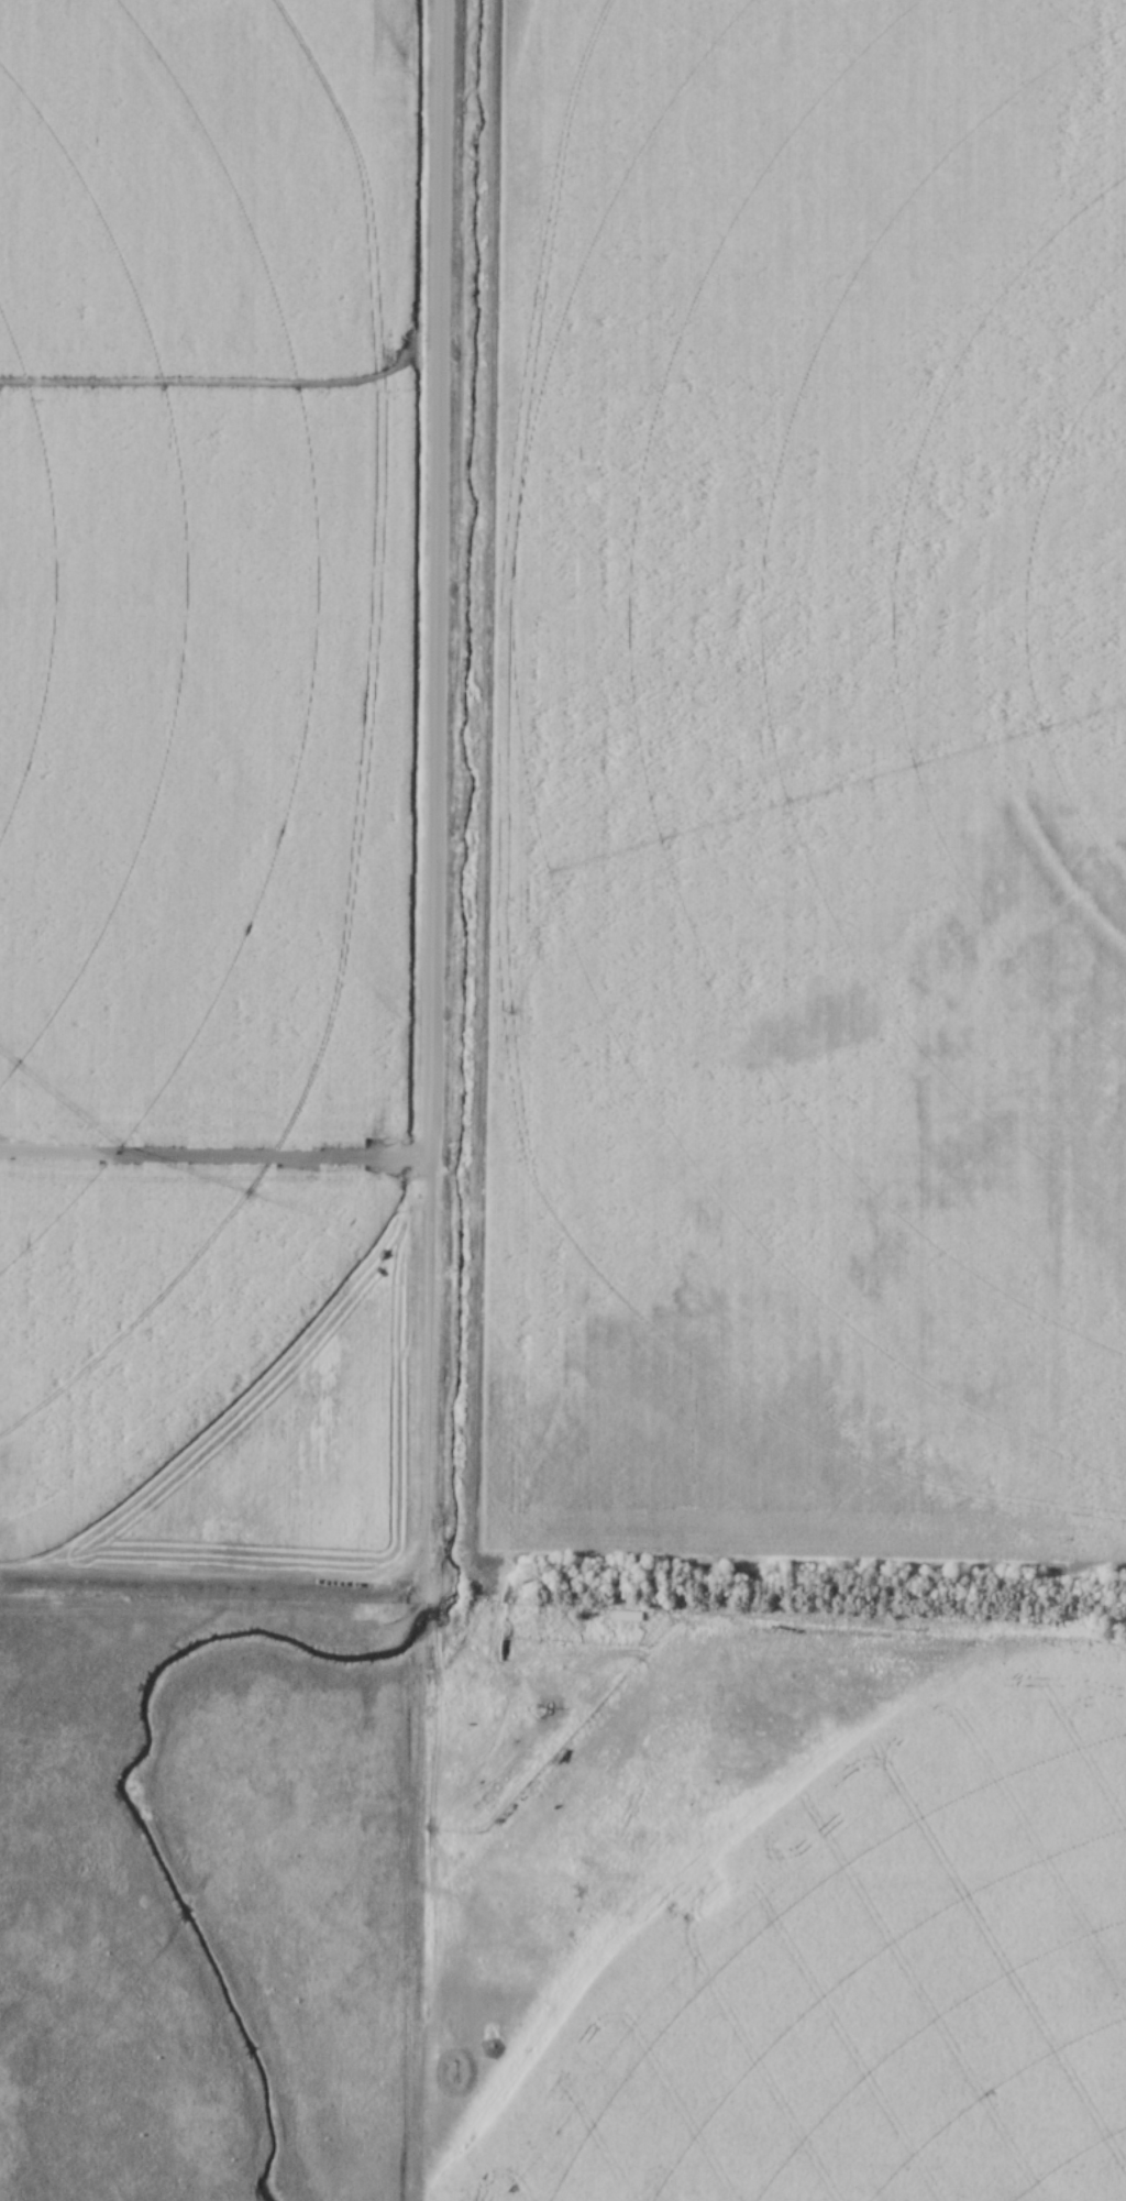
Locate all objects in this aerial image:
road: (432, 581)
road: (202, 1157)
building: (510, 1575)

